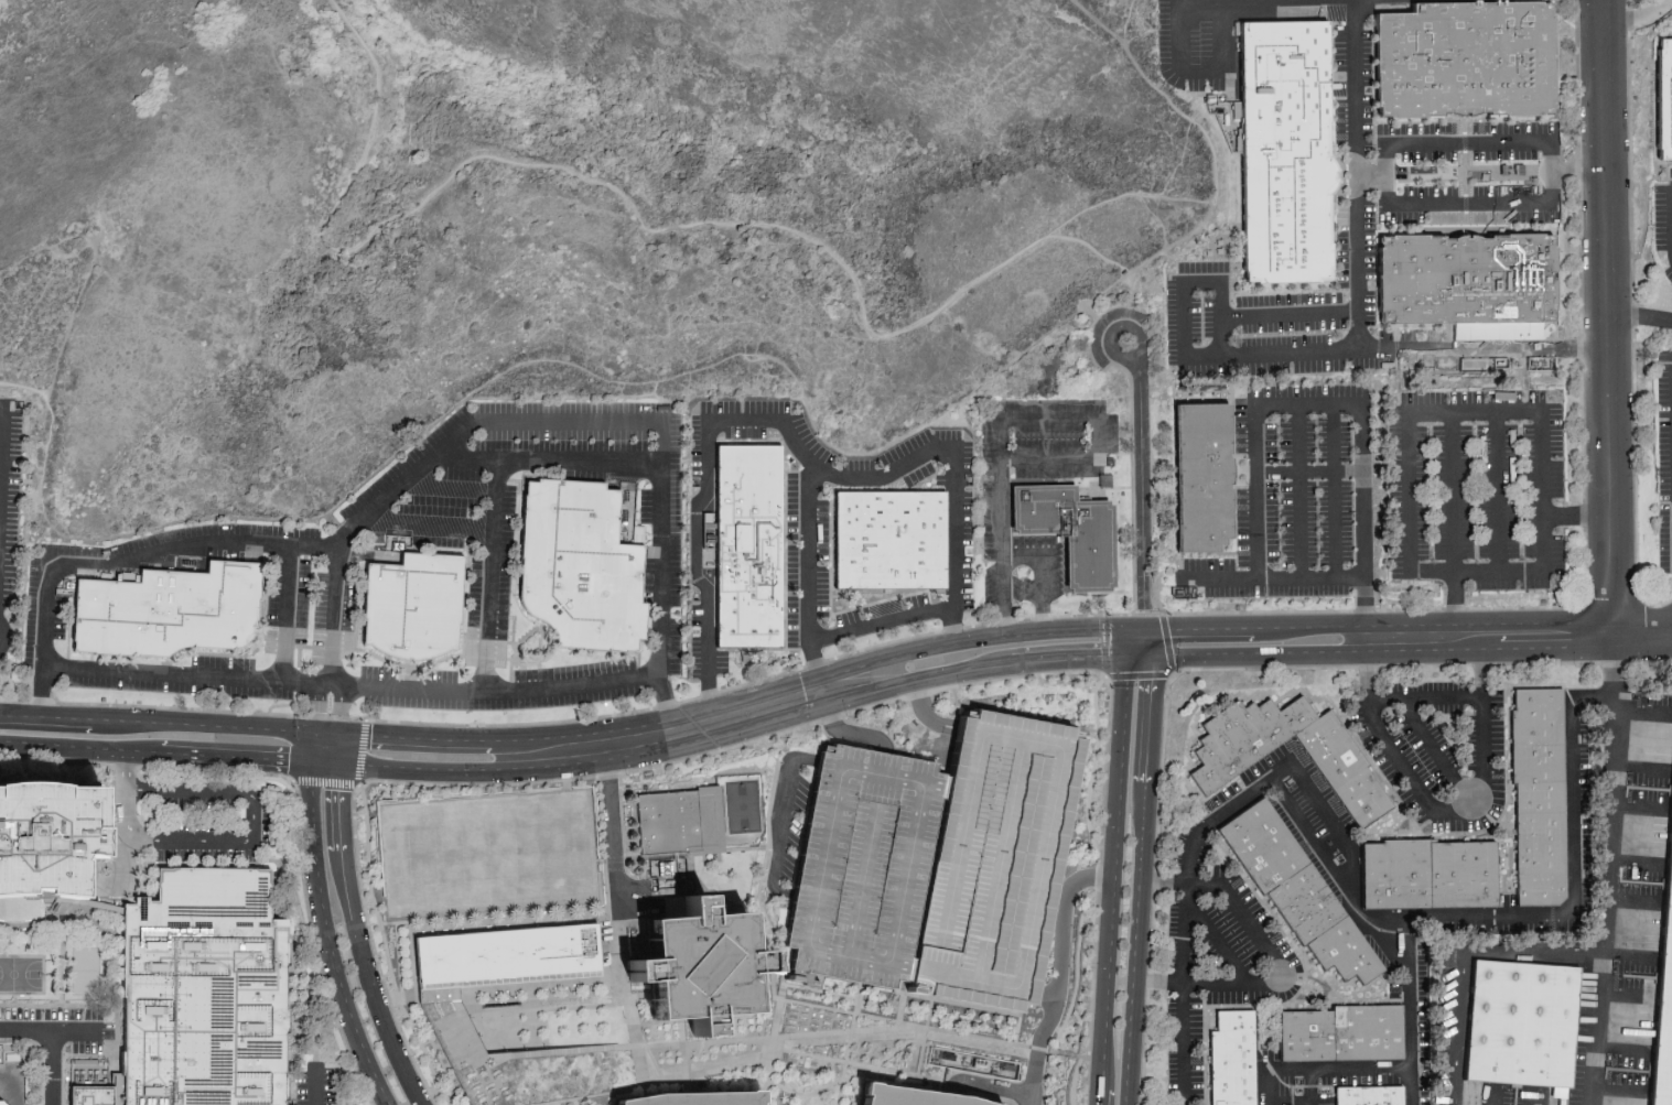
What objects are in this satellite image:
road: (1179, 10)
road: (1640, 17)
road: (1126, 19)
building: (1668, 26)
road: (1221, 31)
parking lot: (1164, 41)
parking lot: (1199, 43)
building: (1468, 62)
parking lot: (1338, 88)
parking lot: (1368, 93)
building: (1663, 99)
road: (1355, 104)
parking lot: (1521, 128)
parking lot: (1413, 129)
building: (1287, 153)
parking lot: (1469, 158)
road: (1175, 166)
road: (1579, 171)
road: (1550, 173)
parking lot: (1669, 173)
road: (1469, 174)
parking lot: (1469, 189)
road: (1184, 198)
road: (1177, 205)
parking lot: (1536, 217)
parking lot: (1659, 218)
road: (654, 225)
parking lot: (1370, 242)
parking lot: (1339, 245)
road: (1093, 250)
road: (1555, 271)
parking lot: (1668, 274)
road: (83, 275)
building: (1466, 277)
parking lot: (1370, 307)
road: (1091, 313)
road: (1252, 316)
road: (1610, 316)
road: (1633, 316)
road: (1641, 317)
parking lot: (1202, 318)
parking lot: (1171, 321)
road: (1381, 325)
road: (1421, 325)
road: (1137, 332)
road: (1448, 332)
parking lot: (1287, 333)
road: (1395, 334)
parking lot: (1417, 335)
parking lot: (1096, 338)
road: (1535, 344)
road: (1395, 349)
road: (1484, 350)
road: (1308, 351)
parking lot: (1293, 367)
road: (703, 368)
parking lot: (1661, 383)
parking lot: (1305, 391)
parking lot: (1536, 397)
parking lot: (1460, 398)
parking lot: (1047, 405)
parking lot: (568, 408)
parking lot: (573, 408)
parking lot: (719, 408)
parking lot: (765, 408)
road: (1254, 408)
road: (1130, 416)
road: (554, 423)
parking lot: (1240, 429)
road: (733, 432)
parking lot: (1112, 432)
parking lot: (745, 433)
parking lot: (948, 436)
parking lot: (1048, 438)
parking lot: (810, 440)
parking lot: (1315, 440)
parking lot: (561, 441)
parking lot: (1277, 441)
parking lot: (1346, 442)
road: (764, 443)
road: (2, 444)
parking lot: (694, 447)
parking lot: (906, 447)
parking lot: (985, 447)
parking lot: (1554, 449)
road: (1088, 457)
parking lot: (1430, 457)
parking lot: (1474, 457)
parking lot: (1518, 457)
parking lot: (968, 458)
parking lot: (1662, 461)
road: (550, 462)
parking lot: (403, 463)
parking lot: (855, 466)
road: (1409, 468)
parking lot: (1057, 472)
road: (1307, 472)
parking lot: (460, 475)
parking lot: (571, 475)
parking lot: (918, 475)
road: (876, 478)
building: (1201, 479)
parking lot: (940, 480)
road: (886, 483)
road: (903, 483)
road: (1102, 488)
road: (449, 490)
road: (1299, 491)
road: (1335, 491)
road: (1453, 491)
road: (1497, 491)
road: (1142, 492)
parking lot: (1394, 494)
road: (703, 500)
parking lot: (436, 506)
parking lot: (644, 507)
parking lot: (676, 511)
parking lot: (675, 516)
road: (1577, 517)
parking lot: (968, 519)
parking lot: (988, 522)
parking lot: (1347, 522)
road: (429, 523)
parking lot: (1279, 523)
road: (833, 524)
parking lot: (1317, 524)
parking lot: (1520, 526)
parking lot: (1241, 527)
parking lot: (1431, 528)
parking lot: (1474, 528)
parking lot: (821, 531)
building: (1069, 531)
parking lot: (214, 535)
road: (833, 538)
parking lot: (435, 540)
parking lot: (1663, 540)
parking lot: (1034, 542)
building: (892, 543)
building: (747, 546)
parking lot: (71, 551)
road: (397, 553)
road: (462, 554)
parking lot: (224, 555)
road: (467, 555)
road: (785, 555)
parking lot: (1556, 555)
road: (1017, 556)
parking lot: (792, 562)
road: (122, 563)
road: (390, 564)
parking lot: (1208, 565)
building: (579, 568)
parking lot: (107, 573)
road: (489, 574)
parking lot: (505, 574)
parking lot: (1056, 575)
road: (1217, 577)
parking lot: (648, 582)
parking lot: (989, 583)
parking lot: (968, 584)
parking lot: (1022, 591)
parking lot: (821, 593)
road: (1109, 593)
parking lot: (1273, 593)
road: (850, 597)
parking lot: (474, 598)
parking lot: (301, 602)
road: (1454, 604)
road: (1362, 606)
road: (830, 607)
building: (412, 608)
parking lot: (272, 610)
parking lot: (348, 610)
parking lot: (880, 610)
building: (169, 611)
road: (1271, 614)
road: (285, 615)
parking lot: (694, 615)
parking lot: (30, 617)
road: (510, 618)
parking lot: (60, 619)
parking lot: (320, 619)
road: (71, 627)
road: (1253, 627)
traffic signals: (1141, 631)
road: (510, 633)
road: (1642, 633)
road: (513, 635)
road: (1488, 635)
road: (526, 636)
road: (1141, 640)
road: (548, 644)
road: (306, 647)
parking lot: (675, 648)
parking lot: (675, 648)
traffic signals: (1141, 650)
road: (1254, 651)
road: (79, 652)
road: (754, 652)
road: (179, 653)
road: (249, 653)
road: (533, 653)
road: (371, 654)
road: (91, 657)
road: (299, 658)
road: (484, 658)
parking lot: (695, 659)
parking lot: (721, 661)
parking lot: (223, 663)
parking lot: (470, 663)
road: (527, 664)
road: (522, 668)
road: (1363, 668)
road: (1206, 669)
road: (407, 671)
road: (510, 671)
parking lot: (574, 671)
parking lot: (377, 672)
road: (181, 675)
parking lot: (435, 676)
road: (324, 685)
road: (336, 686)
parking lot: (1424, 687)
parking lot: (180, 689)
road: (500, 690)
road: (941, 690)
parking lot: (503, 701)
road: (742, 701)
parking lot: (1653, 701)
road: (317, 708)
parking lot: (1445, 708)
road: (342, 709)
road: (923, 709)
road: (184, 712)
road: (1150, 715)
road: (46, 716)
road: (1373, 719)
parking lot: (1358, 723)
road: (742, 724)
parking lot: (1583, 724)
road: (205, 725)
traffic signals: (316, 733)
road: (328, 733)
traffic signals: (341, 734)
road: (848, 736)
road: (1430, 743)
parking lot: (1442, 743)
parking lot: (1470, 744)
road: (315, 749)
road: (341, 749)
parking lot: (1497, 750)
road: (157, 752)
parking lot: (1417, 755)
parking lot: (1262, 763)
road: (1479, 763)
road: (1290, 765)
building: (1339, 765)
traffic signals: (314, 766)
road: (327, 766)
traffic signals: (341, 766)
road: (1092, 767)
parking lot: (1584, 779)
road: (355, 784)
parking lot: (1396, 784)
road: (360, 787)
parking lot: (1649, 788)
parking lot: (1221, 797)
parking lot: (1329, 799)
building: (1539, 799)
road: (296, 801)
park: (743, 810)
parking lot: (1309, 813)
road: (781, 819)
parking lot: (209, 824)
building: (681, 826)
parking lot: (1458, 826)
building: (45, 835)
road: (1312, 835)
road: (766, 841)
road: (231, 842)
parking lot: (1180, 844)
parking lot: (1302, 845)
road: (114, 848)
parking lot: (1204, 853)
building: (990, 854)
parking lot: (990, 854)
road: (616, 856)
building: (864, 859)
parking lot: (864, 859)
road: (1111, 866)
parking lot: (1588, 867)
road: (1605, 869)
road: (1574, 871)
road: (692, 874)
building: (1425, 876)
parking lot: (1643, 882)
road: (371, 896)
building: (1298, 896)
parking lot: (1249, 900)
road: (629, 902)
parking lot: (1503, 929)
road: (1062, 930)
road: (61, 932)
parking lot: (1171, 932)
parking lot: (1230, 932)
road: (362, 939)
road: (331, 940)
road: (114, 943)
road: (1135, 943)
road: (1218, 944)
road: (371, 949)
parking lot: (1210, 952)
parking lot: (1193, 953)
parking lot: (1285, 953)
road: (1183, 957)
road: (1275, 958)
road: (772, 961)
road: (1463, 963)
building: (698, 967)
road: (1077, 969)
park: (87, 972)
park: (21, 975)
parking lot: (1636, 976)
road: (554, 986)
road: (820, 990)
building: (205, 993)
road: (1409, 994)
road: (638, 996)
parking lot: (1249, 997)
road: (902, 999)
parking lot: (1443, 1003)
fountain: (501, 1004)
road: (818, 1005)
road: (1022, 1006)
road: (82, 1007)
road: (975, 1007)
road: (929, 1012)
building: (1665, 1016)
road: (892, 1019)
parking lot: (1169, 1021)
parking lot: (1422, 1022)
building: (447, 1023)
road: (902, 1028)
road: (78, 1030)
building: (1523, 1030)
road: (681, 1032)
road: (850, 1034)
building: (1341, 1036)
parking lot: (1578, 1037)
road: (52, 1041)
road: (705, 1043)
road: (1183, 1044)
road: (1038, 1046)
road: (1038, 1049)
road: (423, 1051)
road: (921, 1051)
road: (1051, 1051)
parking lot: (1195, 1051)
parking lot: (1268, 1055)
road: (67, 1057)
road: (1081, 1058)
building: (1231, 1060)
road: (654, 1062)
building: (968, 1062)
road: (684, 1063)
road: (859, 1065)
road: (1380, 1068)
road: (1260, 1069)
parking lot: (1630, 1071)
road: (706, 1072)
road: (18, 1076)
parking lot: (1172, 1076)
road: (118, 1080)
parking lot: (1362, 1080)
road: (742, 1081)
road: (1072, 1081)
road: (904, 1084)
road: (316, 1086)
parking lot: (1279, 1086)
parking lot: (1439, 1086)
road: (984, 1087)
road: (1097, 1095)
building: (1368, 1095)
building: (904, 1096)
parking lot: (1515, 1096)
road: (592, 1097)
building: (694, 1098)
parking lot: (1324, 1098)
road: (1489, 1101)
road: (1536, 1102)
road: (1312, 1104)

